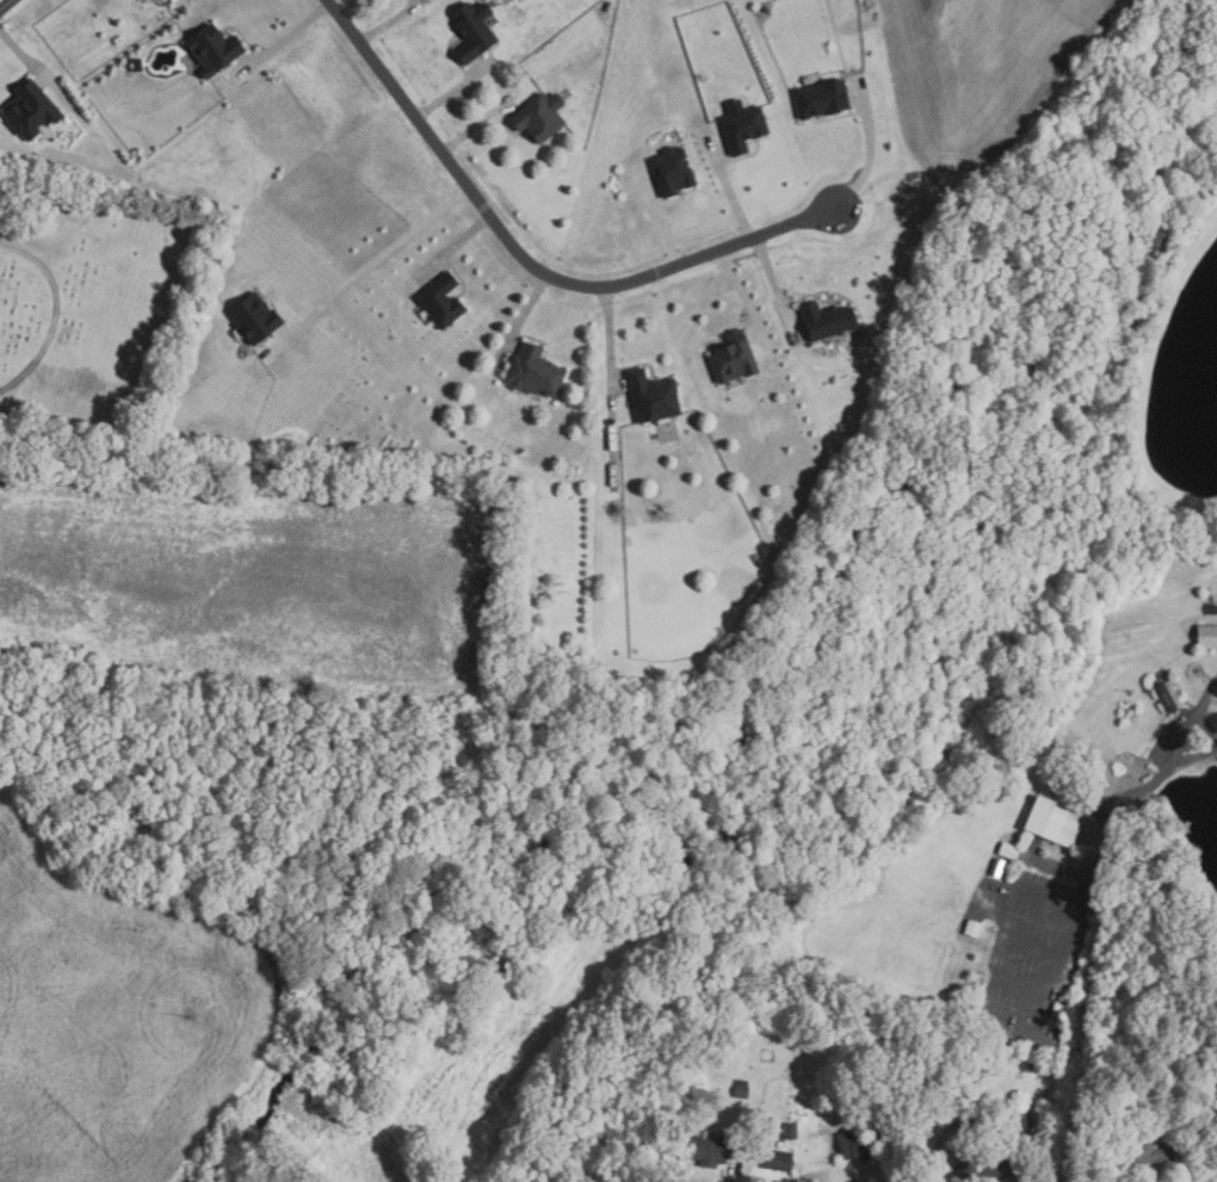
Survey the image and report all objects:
road: (173, 0)
road: (6, 5)
road: (391, 20)
building: (474, 31)
road: (282, 43)
building: (212, 49)
road: (29, 58)
road: (456, 89)
building: (822, 99)
building: (30, 110)
building: (540, 117)
road: (480, 123)
building: (743, 129)
road: (870, 148)
building: (673, 171)
road: (730, 190)
road: (657, 224)
road: (452, 248)
road: (529, 261)
road: (369, 265)
road: (776, 292)
park: (82, 298)
road: (745, 298)
building: (441, 301)
road: (55, 312)
road: (523, 315)
building: (255, 317)
building: (827, 321)
road: (608, 341)
building: (734, 358)
building: (533, 372)
building: (653, 397)
building: (1212, 609)
building: (1207, 636)
building: (1166, 699)
road: (1155, 762)
building: (1057, 819)
building: (1009, 849)
building: (997, 866)
building: (974, 927)
building: (1061, 1010)
power tower: (189, 1013)
building: (1013, 1057)
building: (852, 1083)
building: (741, 1091)
building: (1023, 1121)
building: (790, 1130)
road: (945, 1135)
building: (860, 1144)
building: (709, 1149)
building: (1142, 1152)
road: (1184, 1152)
building: (778, 1159)
building: (991, 1163)
road: (1032, 1166)
road: (727, 1176)
road: (859, 1180)
road: (807, 1181)

